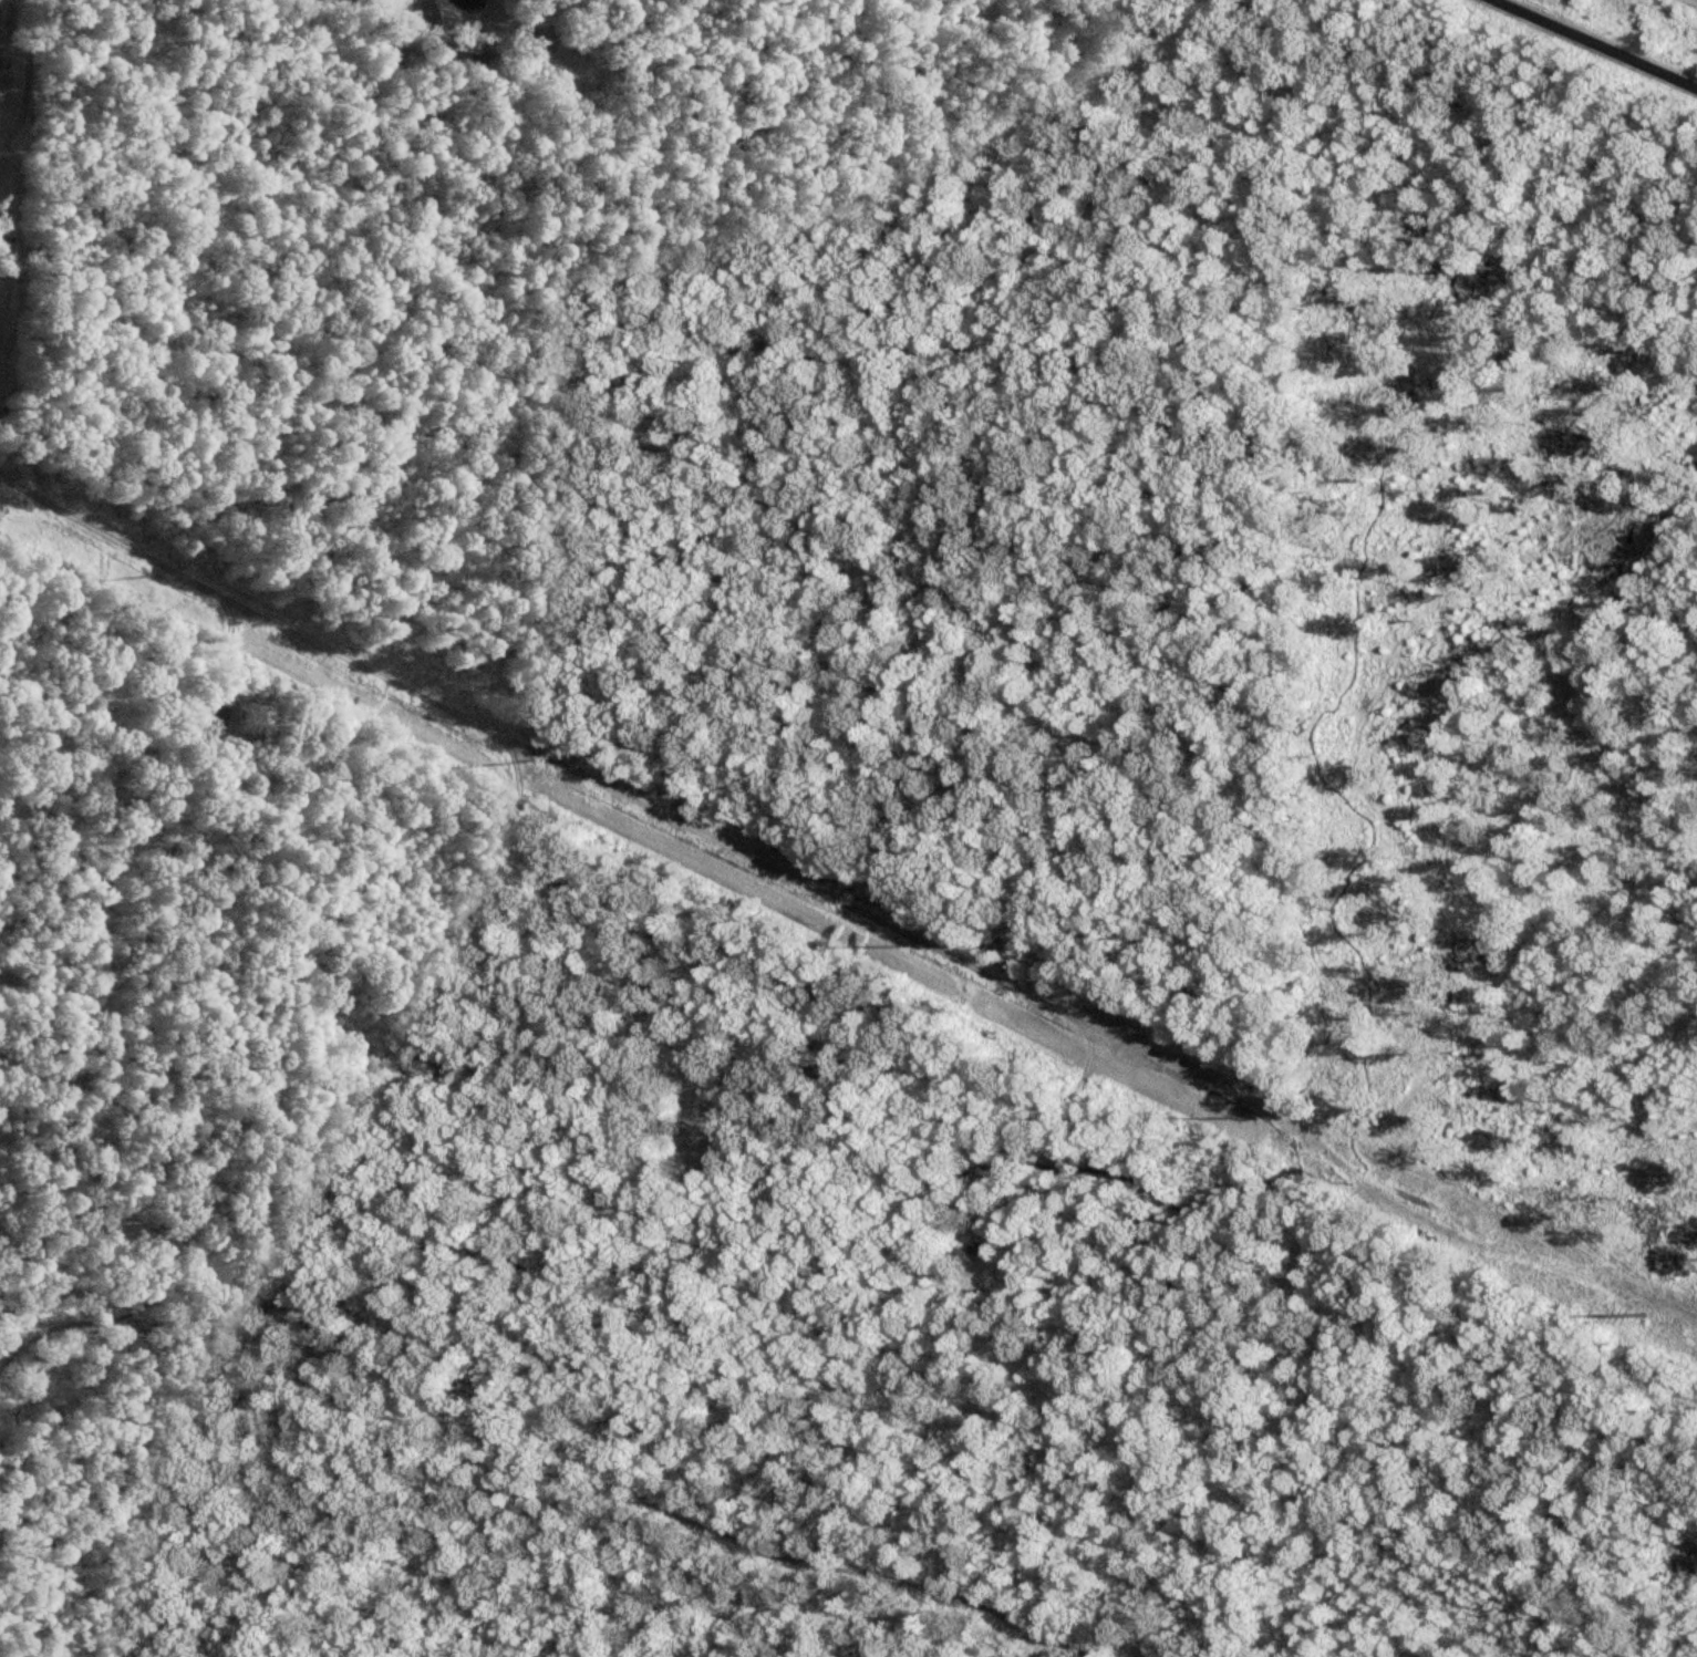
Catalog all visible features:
road: (1596, 44)
power tower: (148, 563)
building: (214, 721)
power tower: (521, 747)
power tower: (894, 934)
power tower: (1238, 1104)
power tower: (1634, 1306)

